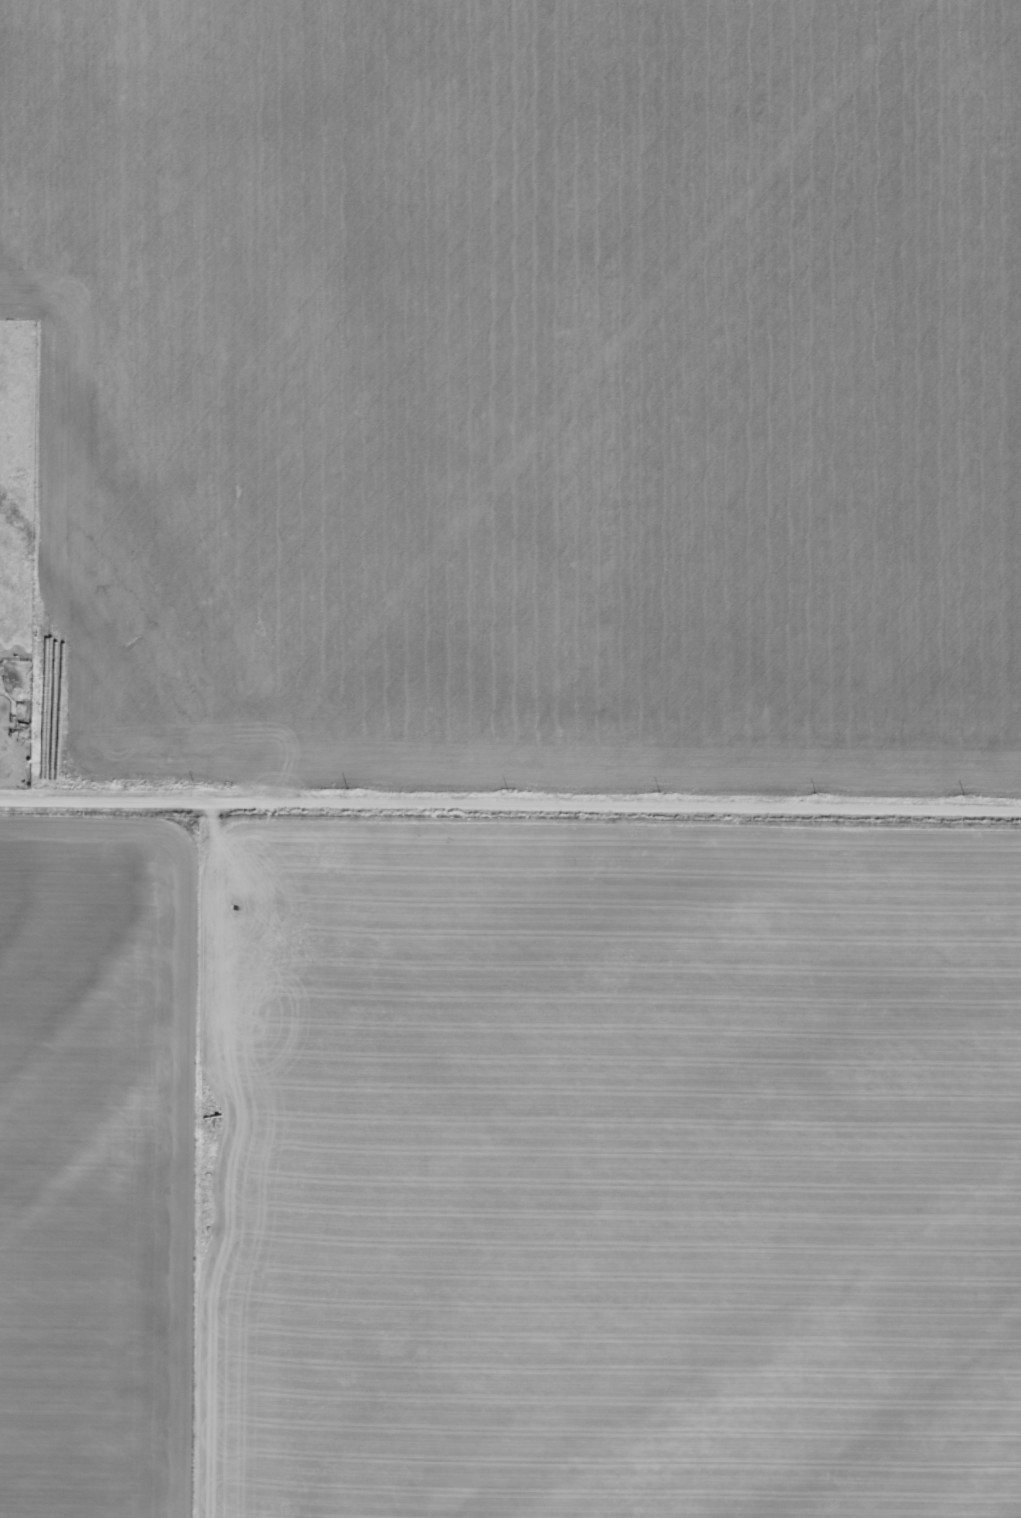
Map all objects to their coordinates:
road: (510, 802)

